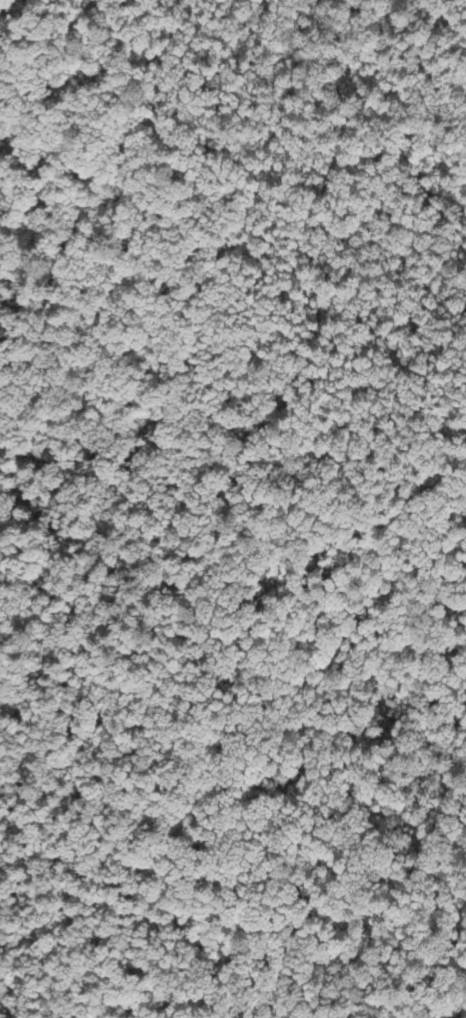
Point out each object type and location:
road: (393, 808)

